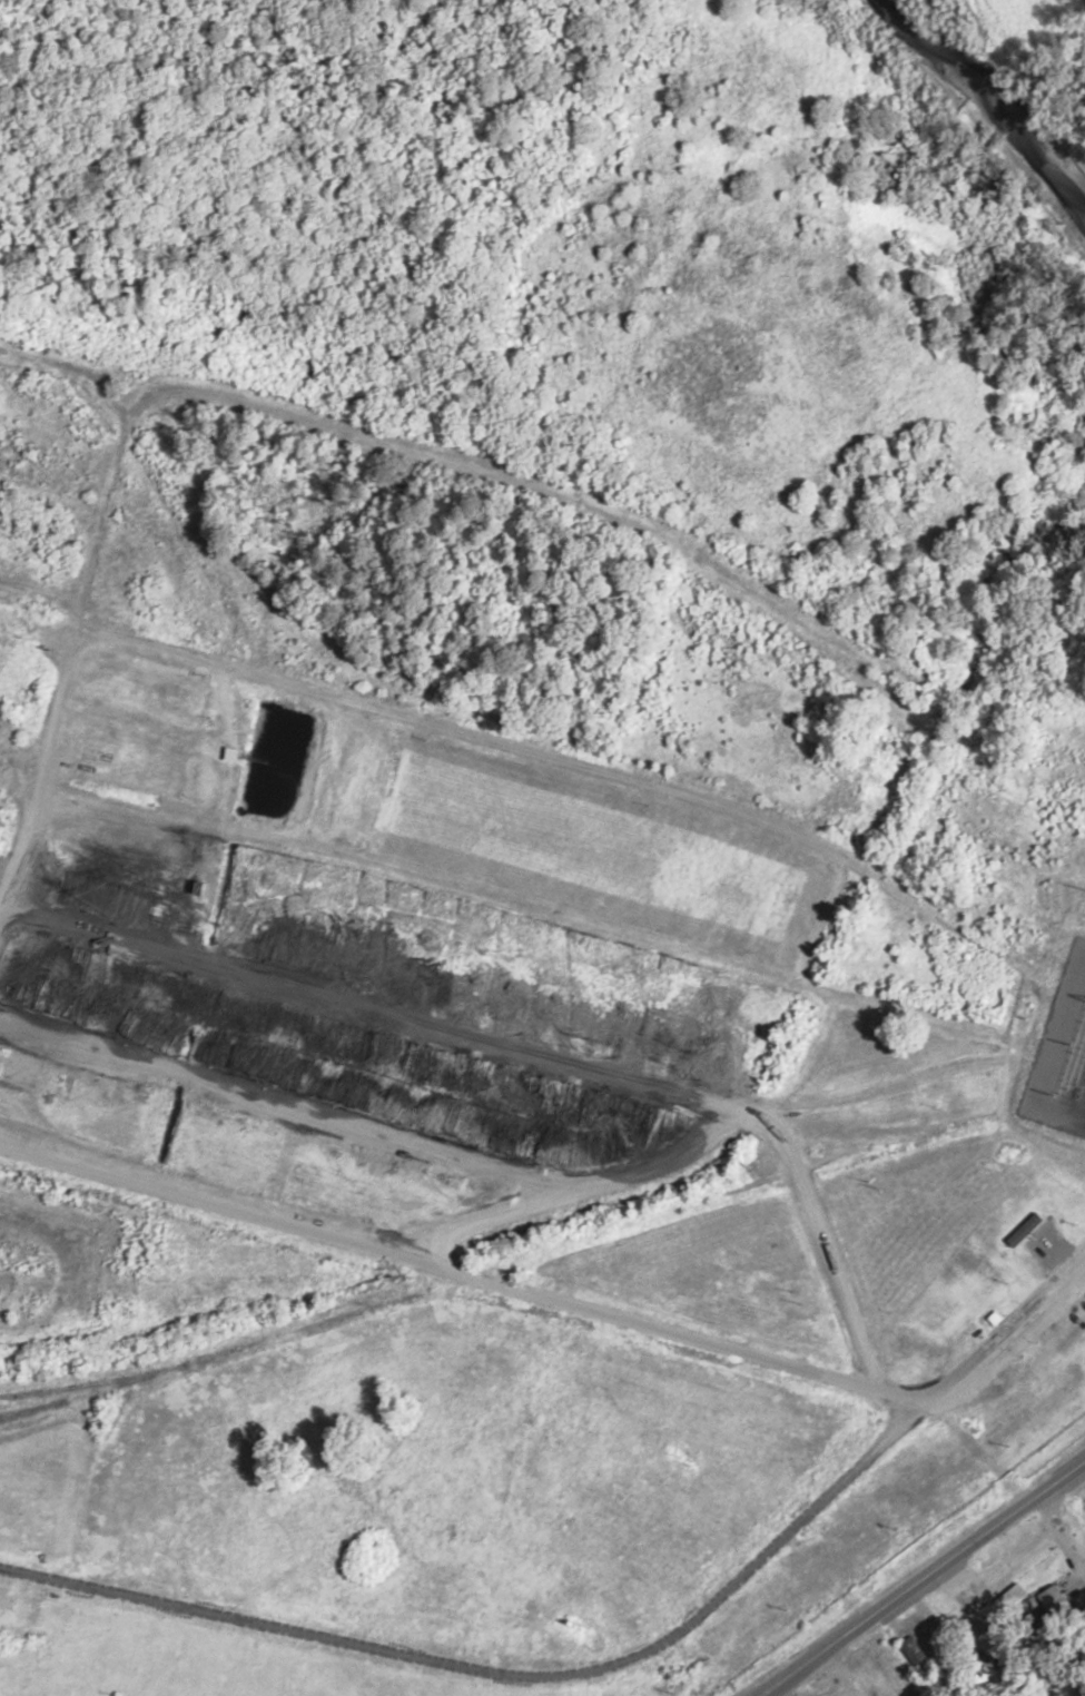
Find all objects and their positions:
river: (969, 100)
road: (368, 381)
building: (203, 889)
railway: (500, 1266)
road: (463, 1276)
road: (924, 1577)
building: (1053, 1597)
building: (1006, 1604)
building: (919, 1658)
road: (614, 1659)

